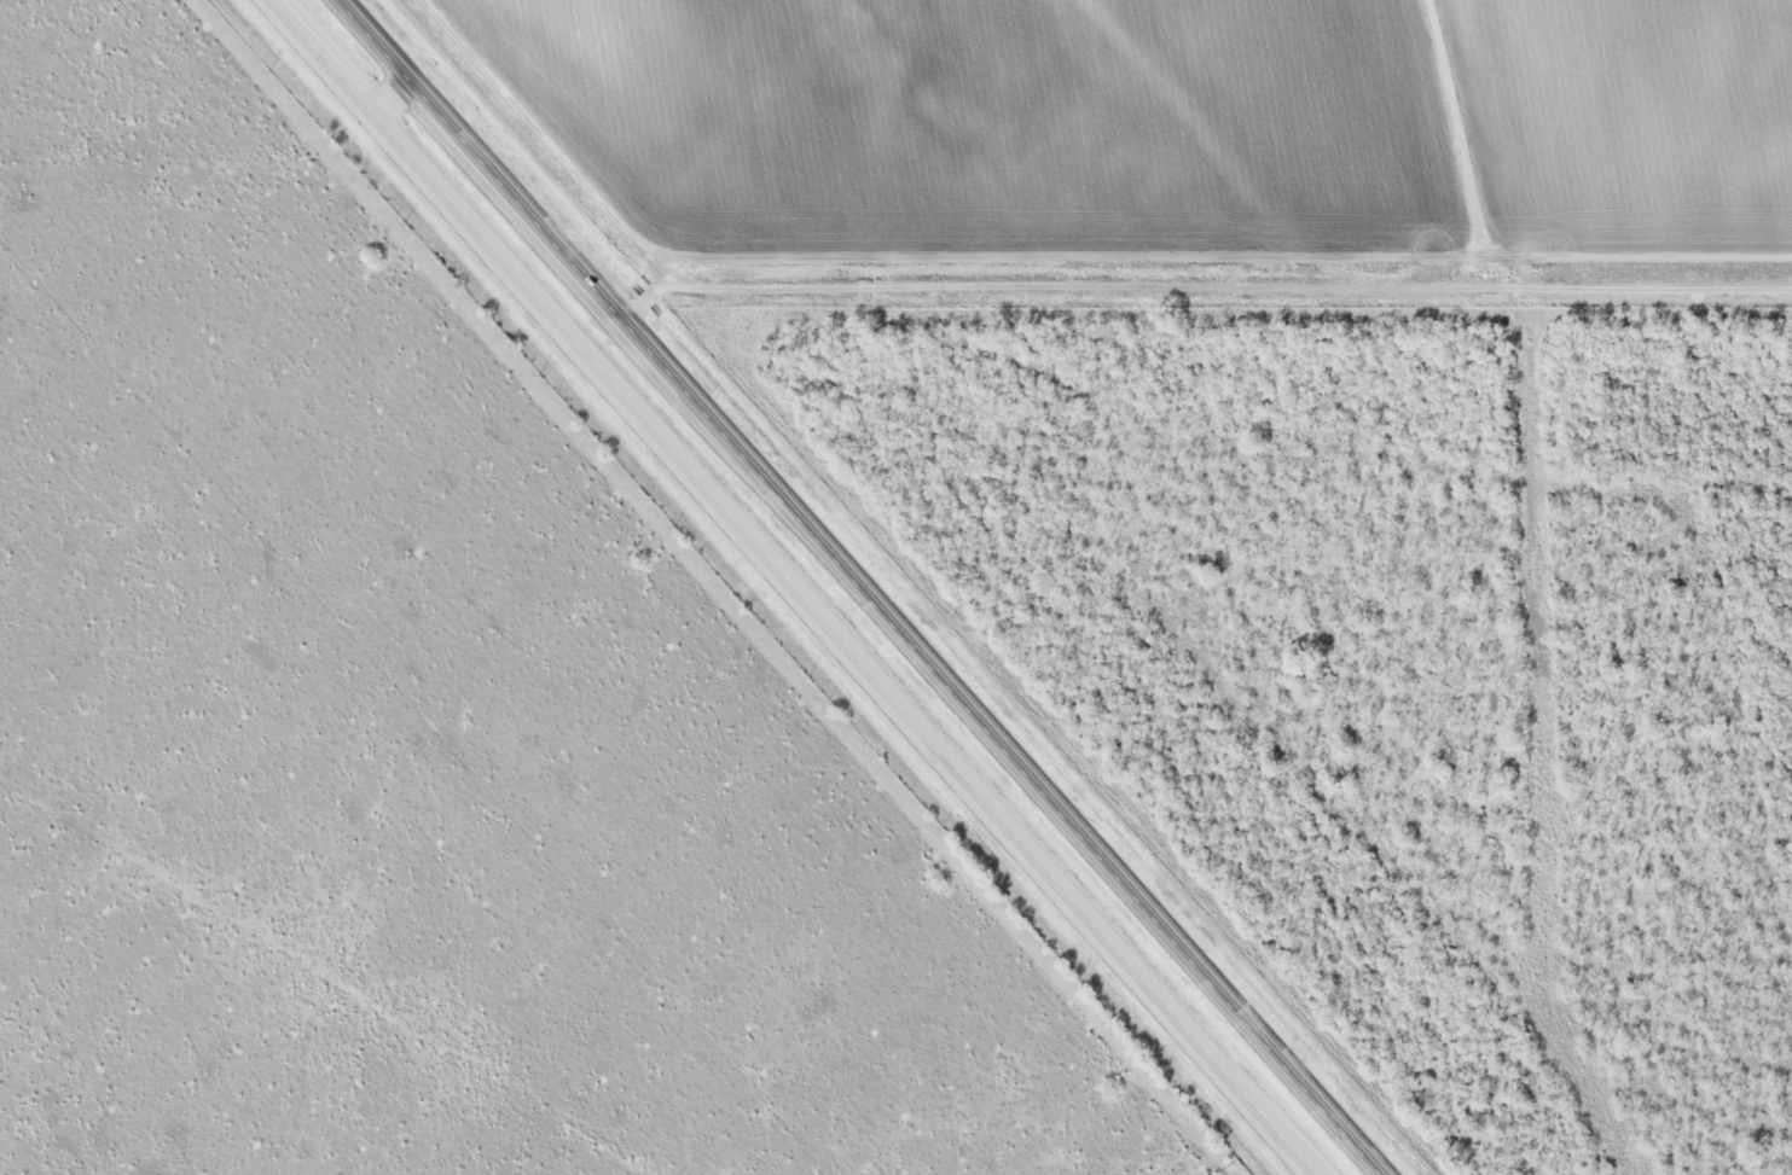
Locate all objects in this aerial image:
road: (390, 91)
road: (1045, 286)
road: (869, 584)
road: (798, 587)

